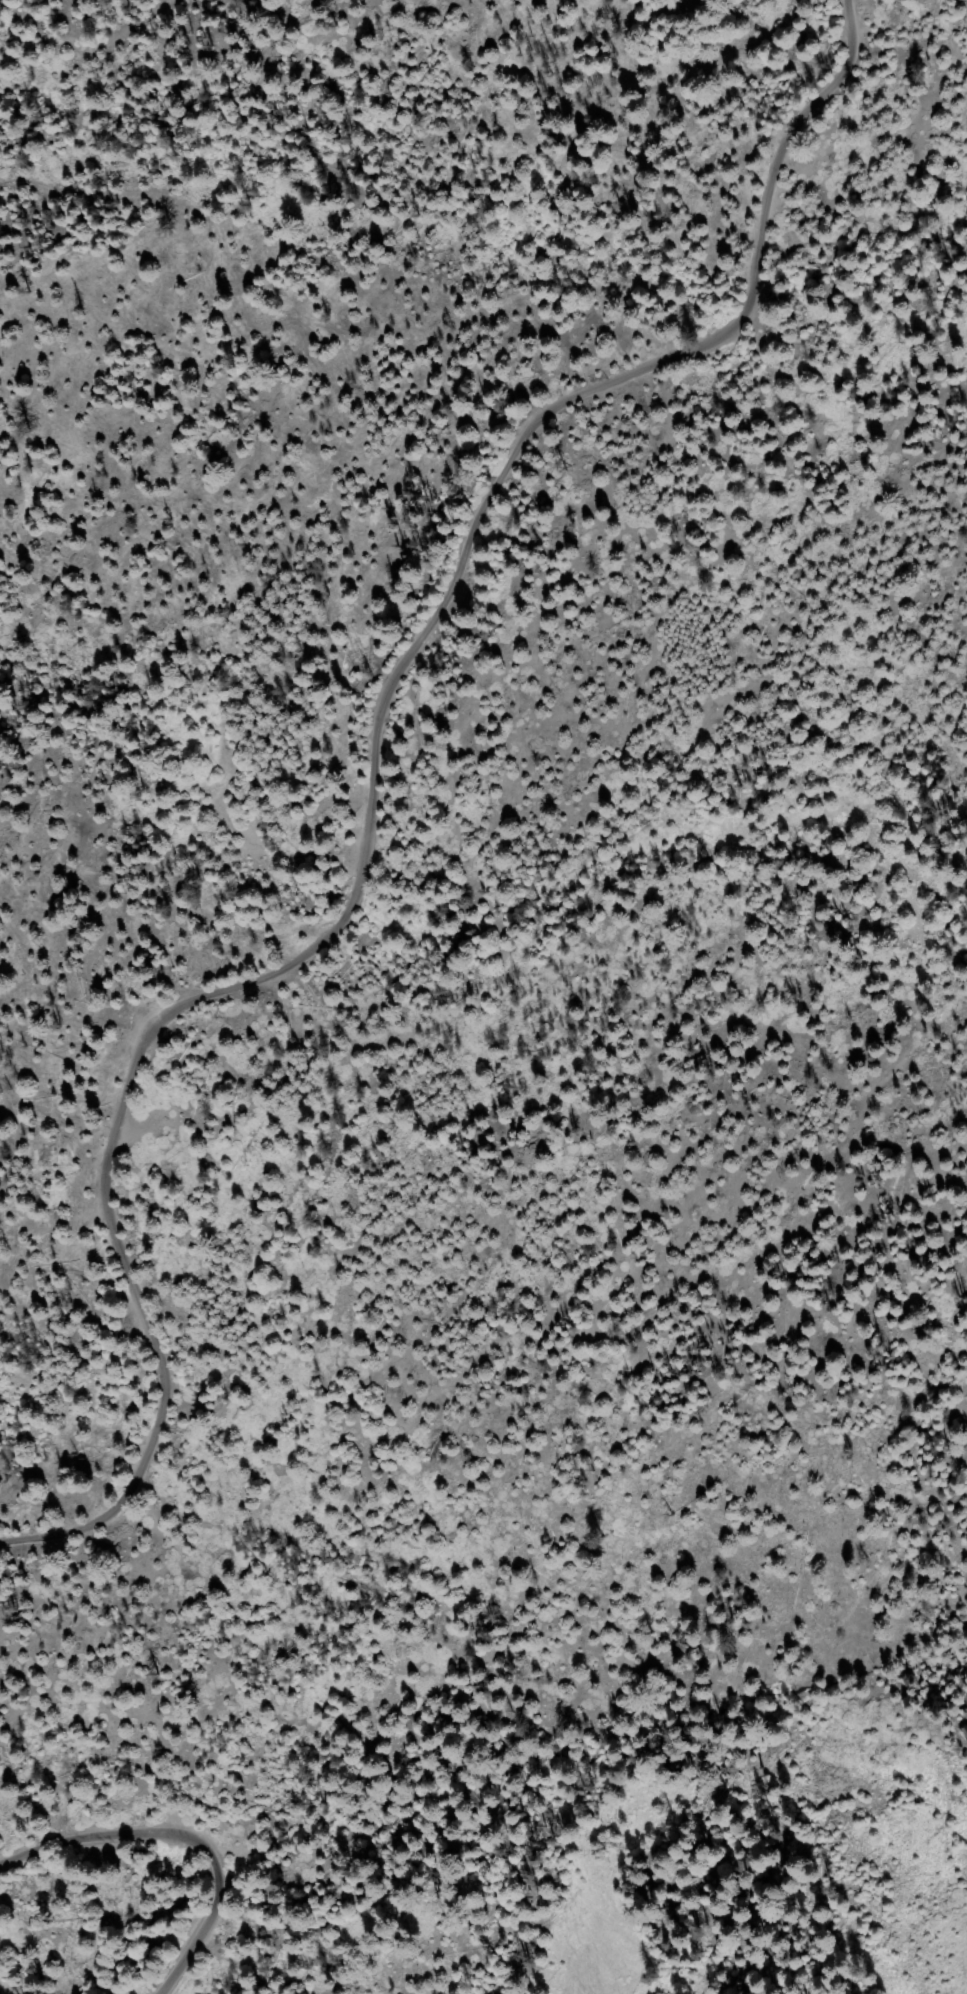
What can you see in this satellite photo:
road: (369, 782)
road: (179, 1839)

